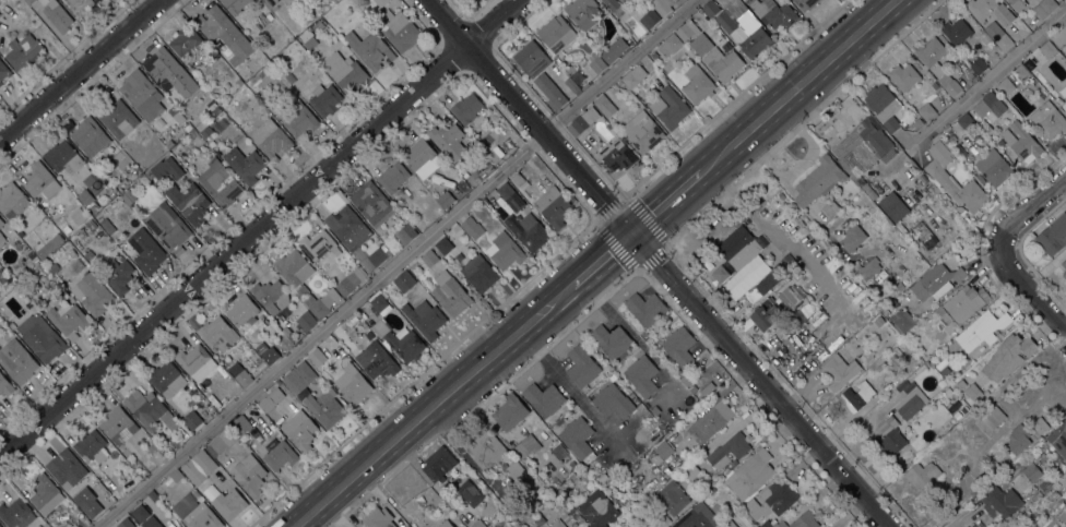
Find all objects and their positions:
building: (292, 0)
building: (28, 1)
building: (287, 1)
building: (332, 1)
building: (805, 3)
building: (81, 4)
building: (1018, 4)
building: (235, 5)
building: (663, 5)
building: (615, 7)
building: (1044, 7)
building: (710, 8)
building: (990, 10)
building: (335, 12)
building: (582, 12)
building: (775, 13)
building: (57, 15)
building: (269, 16)
building: (262, 19)
building: (650, 19)
building: (393, 24)
building: (686, 29)
building: (956, 29)
building: (994, 29)
building: (224, 31)
building: (745, 32)
building: (556, 34)
building: (1059, 36)
building: (185, 39)
building: (1004, 41)
building: (670, 44)
building: (369, 48)
building: (1047, 48)
building: (614, 49)
building: (22, 50)
building: (931, 51)
building: (654, 53)
building: (531, 58)
building: (723, 62)
building: (597, 64)
building: (979, 64)
building: (248, 65)
building: (268, 67)
building: (569, 68)
building: (955, 68)
road: (79, 69)
building: (4, 70)
building: (345, 71)
building: (169, 72)
building: (261, 72)
building: (244, 73)
building: (633, 75)
building: (904, 75)
building: (291, 77)
road: (985, 79)
building: (238, 81)
building: (948, 82)
building: (1018, 82)
building: (1, 83)
building: (572, 84)
building: (617, 84)
building: (698, 84)
building: (226, 85)
road: (796, 85)
building: (934, 85)
building: (550, 91)
building: (1063, 92)
building: (142, 94)
building: (234, 96)
building: (325, 98)
building: (605, 105)
building: (884, 105)
building: (990, 105)
building: (466, 107)
building: (670, 107)
building: (926, 110)
building: (173, 111)
building: (116, 116)
building: (1049, 117)
building: (300, 118)
building: (966, 121)
building: (211, 122)
building: (582, 122)
building: (915, 123)
building: (206, 131)
building: (643, 132)
building: (192, 133)
building: (90, 135)
building: (270, 136)
building: (448, 141)
building: (1021, 141)
building: (169, 143)
building: (473, 145)
building: (863, 151)
building: (941, 152)
building: (616, 154)
building: (63, 157)
building: (422, 157)
building: (245, 164)
building: (127, 167)
building: (994, 167)
building: (167, 168)
building: (393, 176)
building: (517, 178)
building: (923, 178)
building: (980, 178)
building: (42, 180)
building: (818, 180)
building: (524, 184)
building: (223, 187)
building: (957, 187)
building: (85, 196)
building: (129, 196)
building: (510, 196)
building: (12, 199)
building: (445, 199)
building: (485, 201)
building: (189, 202)
road: (666, 202)
building: (371, 203)
road: (1032, 204)
building: (93, 205)
building: (553, 205)
building: (892, 205)
building: (831, 208)
building: (959, 208)
building: (79, 215)
building: (1, 221)
building: (91, 224)
road: (599, 224)
building: (107, 225)
building: (167, 225)
building: (347, 226)
building: (472, 227)
road: (261, 229)
building: (528, 230)
traffic signals: (631, 232)
building: (754, 232)
building: (405, 233)
building: (1053, 236)
building: (852, 237)
building: (2, 238)
building: (56, 239)
building: (319, 244)
building: (443, 244)
building: (69, 248)
building: (146, 250)
building: (505, 250)
building: (741, 250)
building: (26, 251)
building: (774, 252)
building: (378, 255)
building: (429, 257)
road: (602, 259)
road: (658, 263)
building: (1064, 263)
road: (389, 264)
building: (39, 266)
building: (54, 266)
building: (294, 266)
building: (868, 267)
building: (478, 273)
building: (117, 274)
building: (1064, 274)
building: (2, 275)
building: (404, 280)
building: (935, 280)
building: (350, 282)
building: (763, 286)
road: (1027, 287)
building: (92, 292)
building: (450, 292)
building: (271, 295)
building: (791, 295)
building: (379, 302)
building: (319, 303)
building: (962, 303)
building: (645, 308)
building: (242, 310)
building: (766, 312)
building: (886, 312)
building: (352, 318)
building: (425, 318)
building: (69, 319)
building: (306, 320)
building: (878, 320)
building: (902, 320)
building: (193, 322)
road: (625, 326)
building: (982, 331)
building: (217, 333)
building: (289, 335)
building: (370, 335)
building: (42, 337)
building: (611, 339)
building: (405, 345)
building: (679, 345)
building: (896, 350)
building: (269, 351)
building: (1007, 355)
building: (317, 356)
building: (192, 358)
building: (16, 360)
building: (376, 360)
building: (926, 363)
building: (581, 364)
building: (939, 364)
building: (839, 370)
building: (945, 371)
building: (641, 374)
building: (242, 376)
building: (299, 376)
building: (166, 378)
road: (565, 379)
building: (686, 379)
building: (698, 382)
building: (960, 383)
building: (353, 384)
building: (5, 385)
building: (692, 387)
building: (703, 392)
building: (973, 392)
building: (945, 394)
building: (855, 396)
building: (544, 397)
building: (270, 398)
building: (613, 400)
building: (910, 403)
road: (434, 405)
building: (324, 407)
building: (150, 410)
building: (509, 411)
building: (191, 419)
building: (991, 419)
building: (710, 421)
building: (240, 423)
building: (118, 424)
building: (1038, 427)
building: (299, 430)
building: (162, 434)
building: (890, 435)
building: (577, 436)
building: (1058, 438)
building: (223, 439)
building: (1017, 440)
building: (91, 445)
building: (525, 445)
building: (152, 446)
building: (167, 446)
building: (663, 448)
building: (487, 450)
building: (558, 450)
building: (729, 450)
building: (280, 455)
building: (438, 463)
building: (571, 464)
building: (199, 466)
building: (1065, 466)
building: (66, 468)
building: (514, 468)
building: (690, 470)
building: (1032, 471)
building: (249, 474)
building: (750, 474)
building: (922, 474)
building: (176, 475)
building: (573, 477)
building: (1045, 484)
building: (99, 486)
building: (470, 492)
building: (45, 493)
building: (153, 495)
building: (672, 496)
building: (771, 500)
building: (87, 501)
building: (999, 501)
building: (228, 503)
building: (597, 508)
building: (726, 508)
building: (16, 513)
building: (202, 516)
building: (145, 517)
building: (378, 517)
building: (526, 517)
building: (695, 518)
building: (501, 519)
building: (666, 519)
building: (799, 520)
building: (126, 523)
building: (446, 524)
building: (477, 524)
building: (557, 524)
building: (729, 524)
building: (767, 524)
building: (0, 526)
building: (179, 526)
building: (405, 526)
building: (577, 526)
building: (756, 526)

